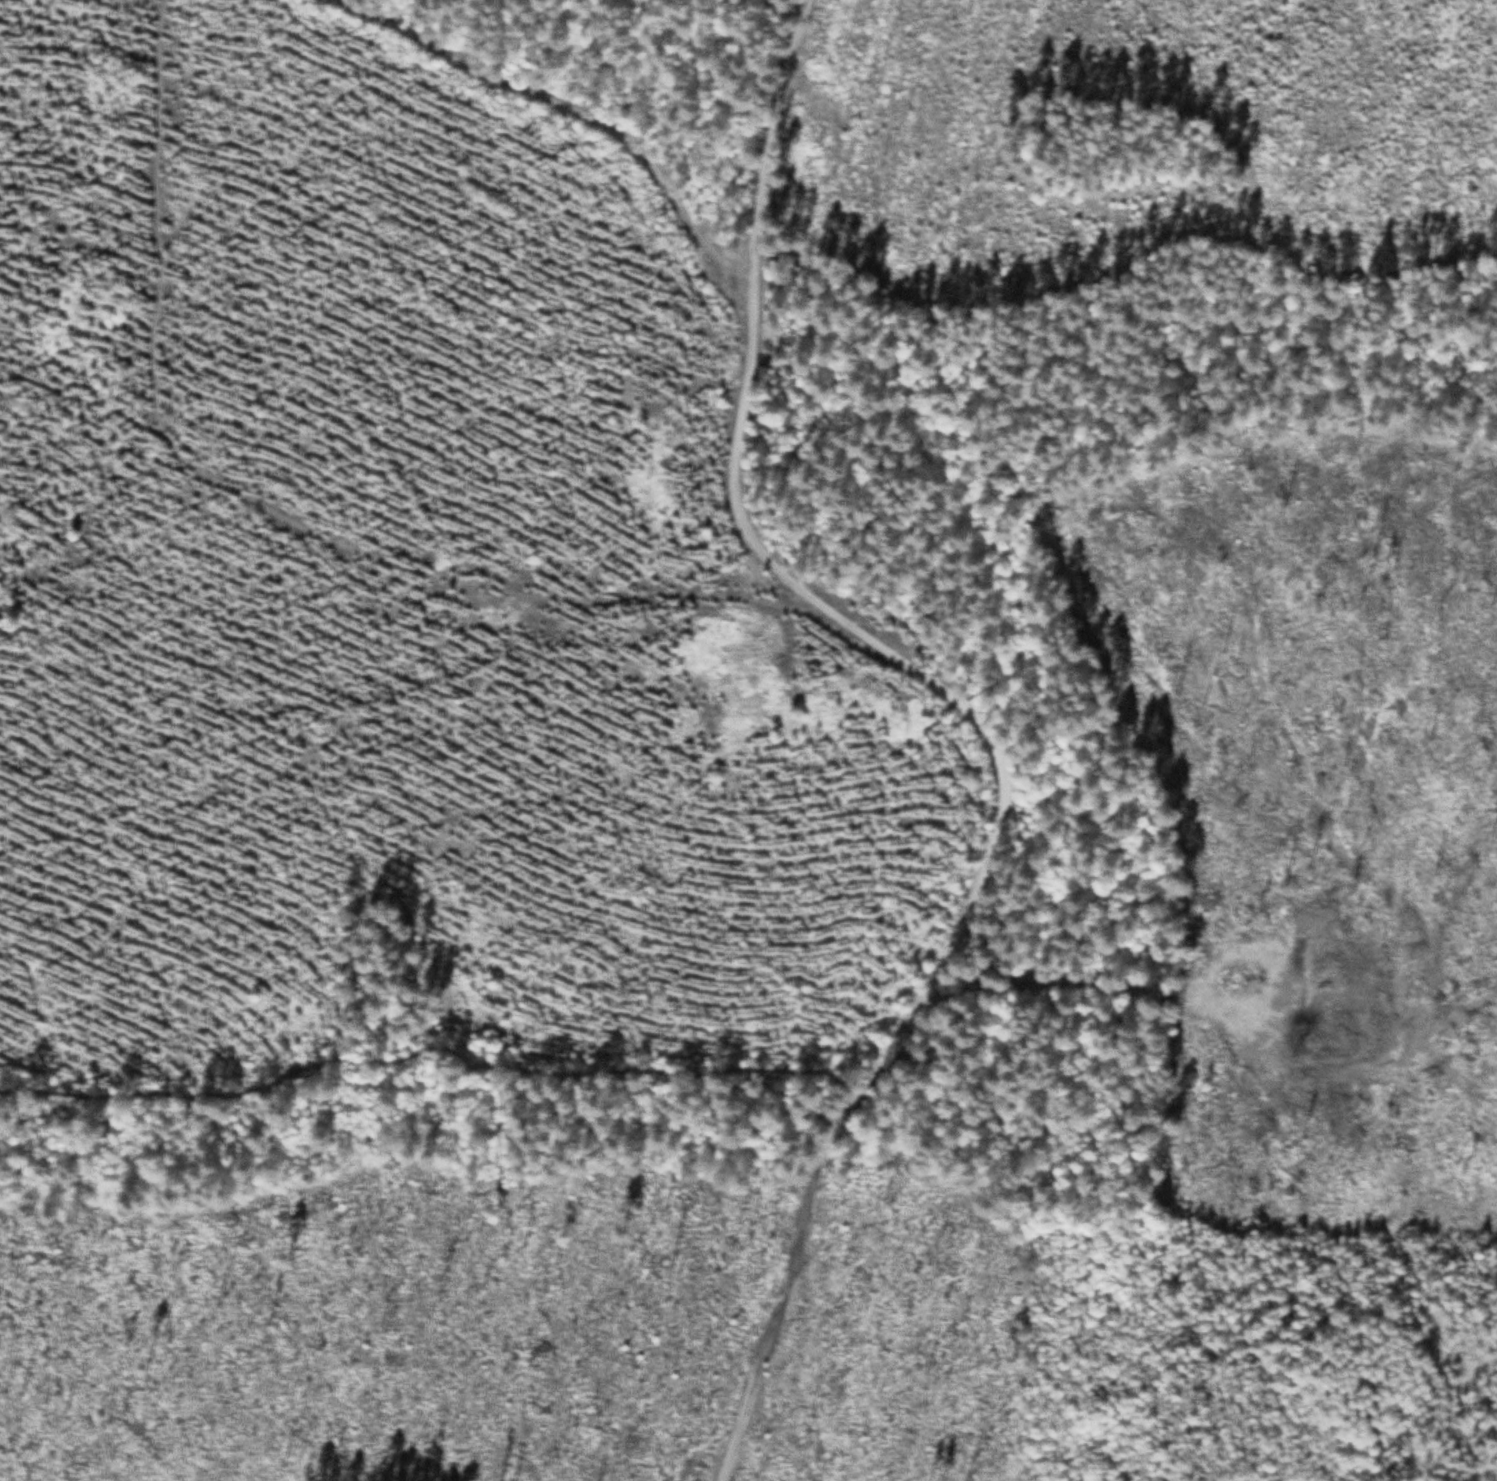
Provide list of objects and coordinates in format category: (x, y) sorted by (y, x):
road: (788, 14)
road: (574, 109)
road: (272, 509)
road: (966, 714)

